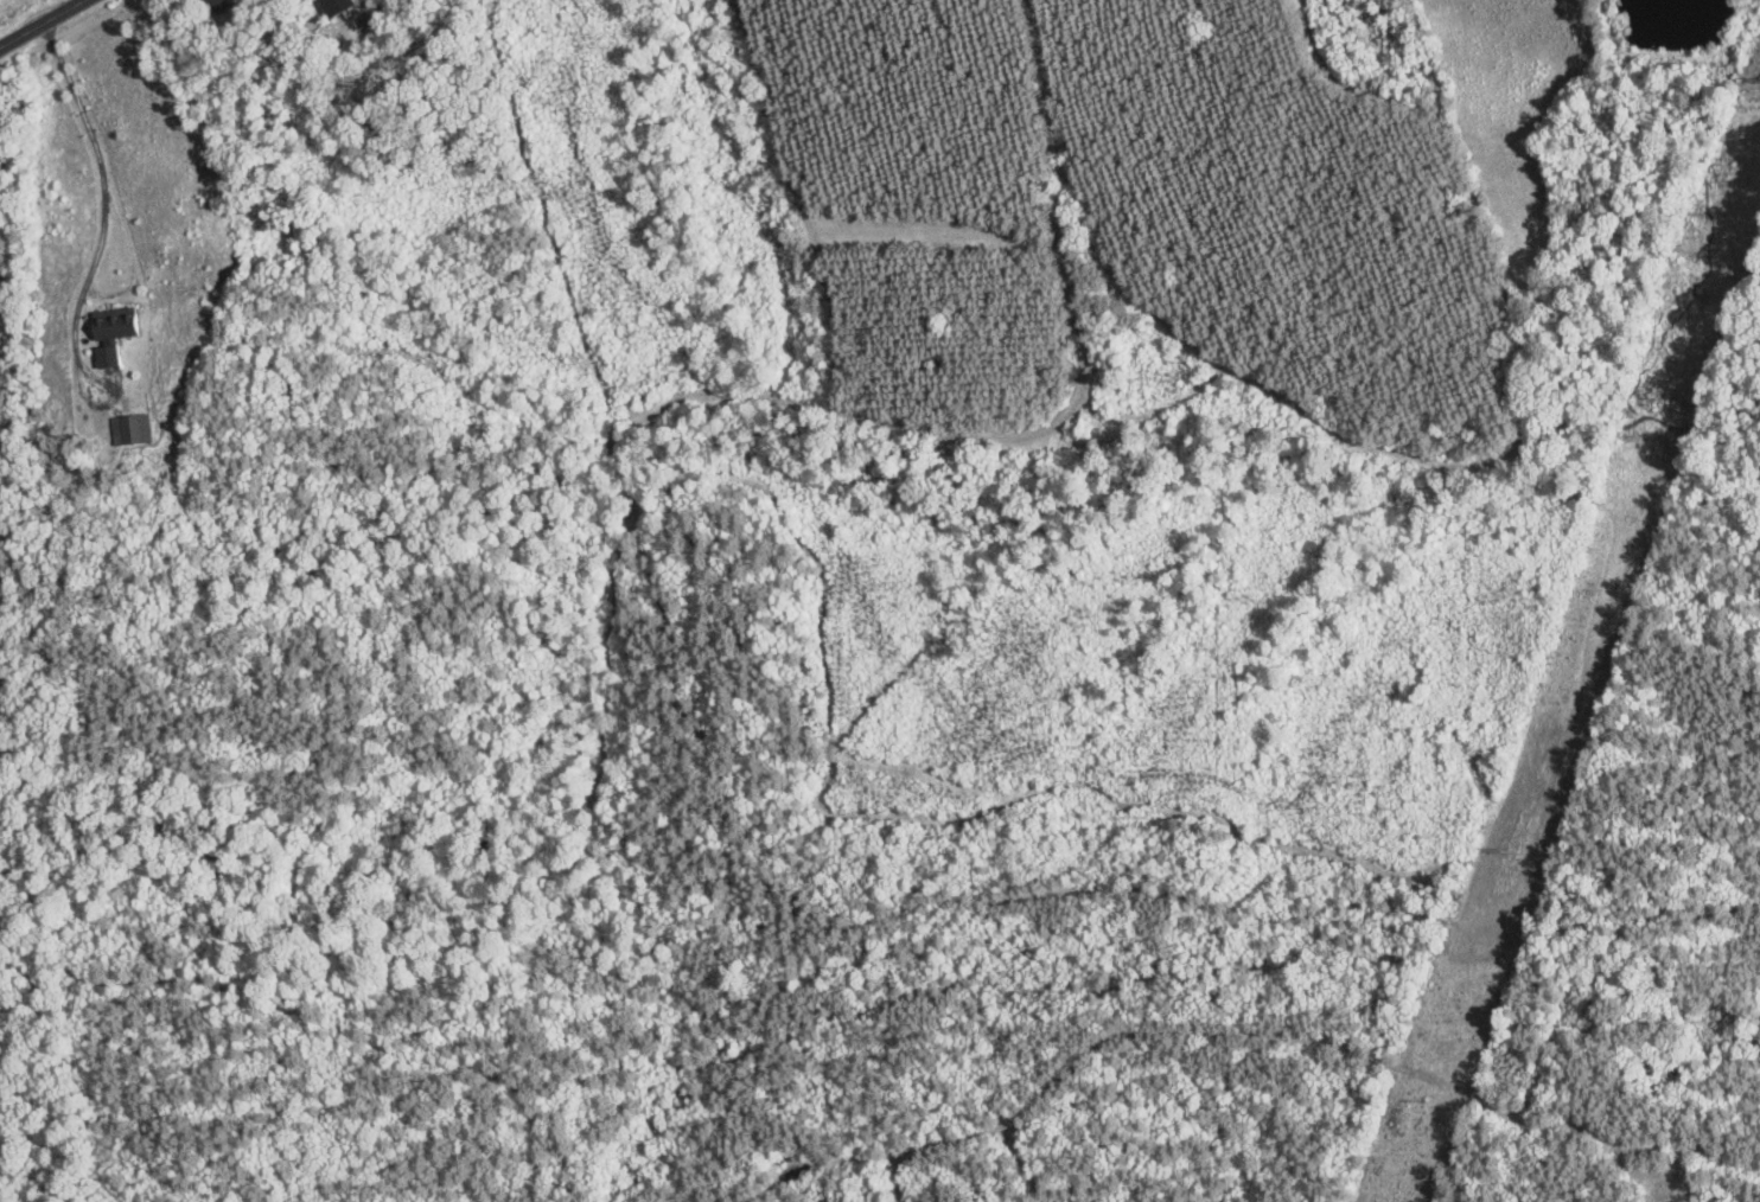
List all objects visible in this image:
road: (42, 24)
road: (102, 187)
power tower: (1513, 850)
power tower: (1428, 1098)

